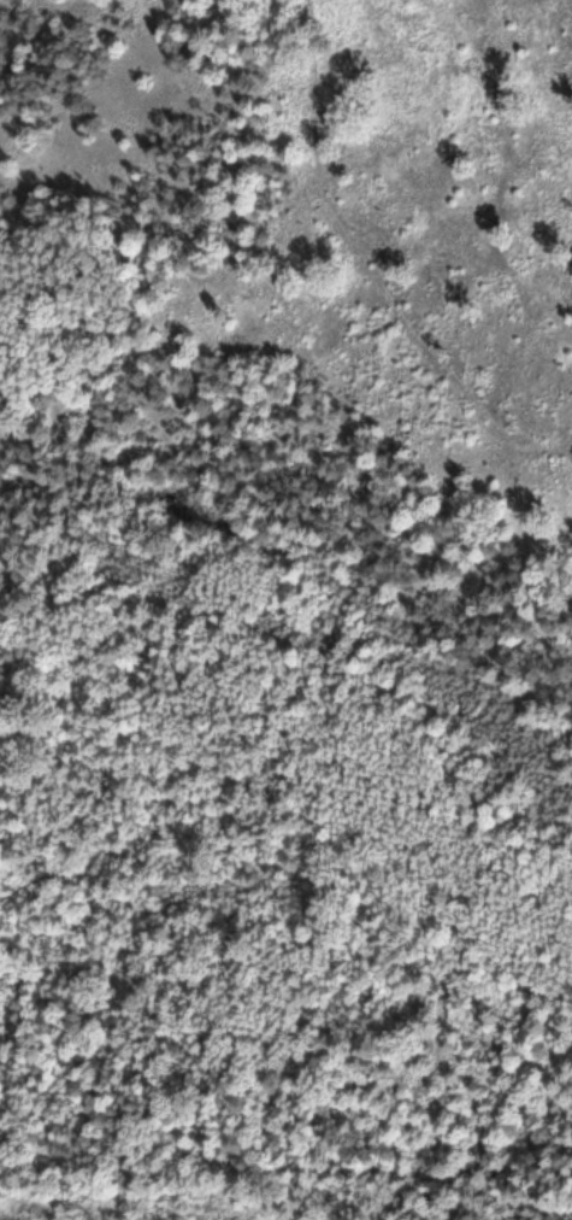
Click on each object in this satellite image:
road: (291, 892)

